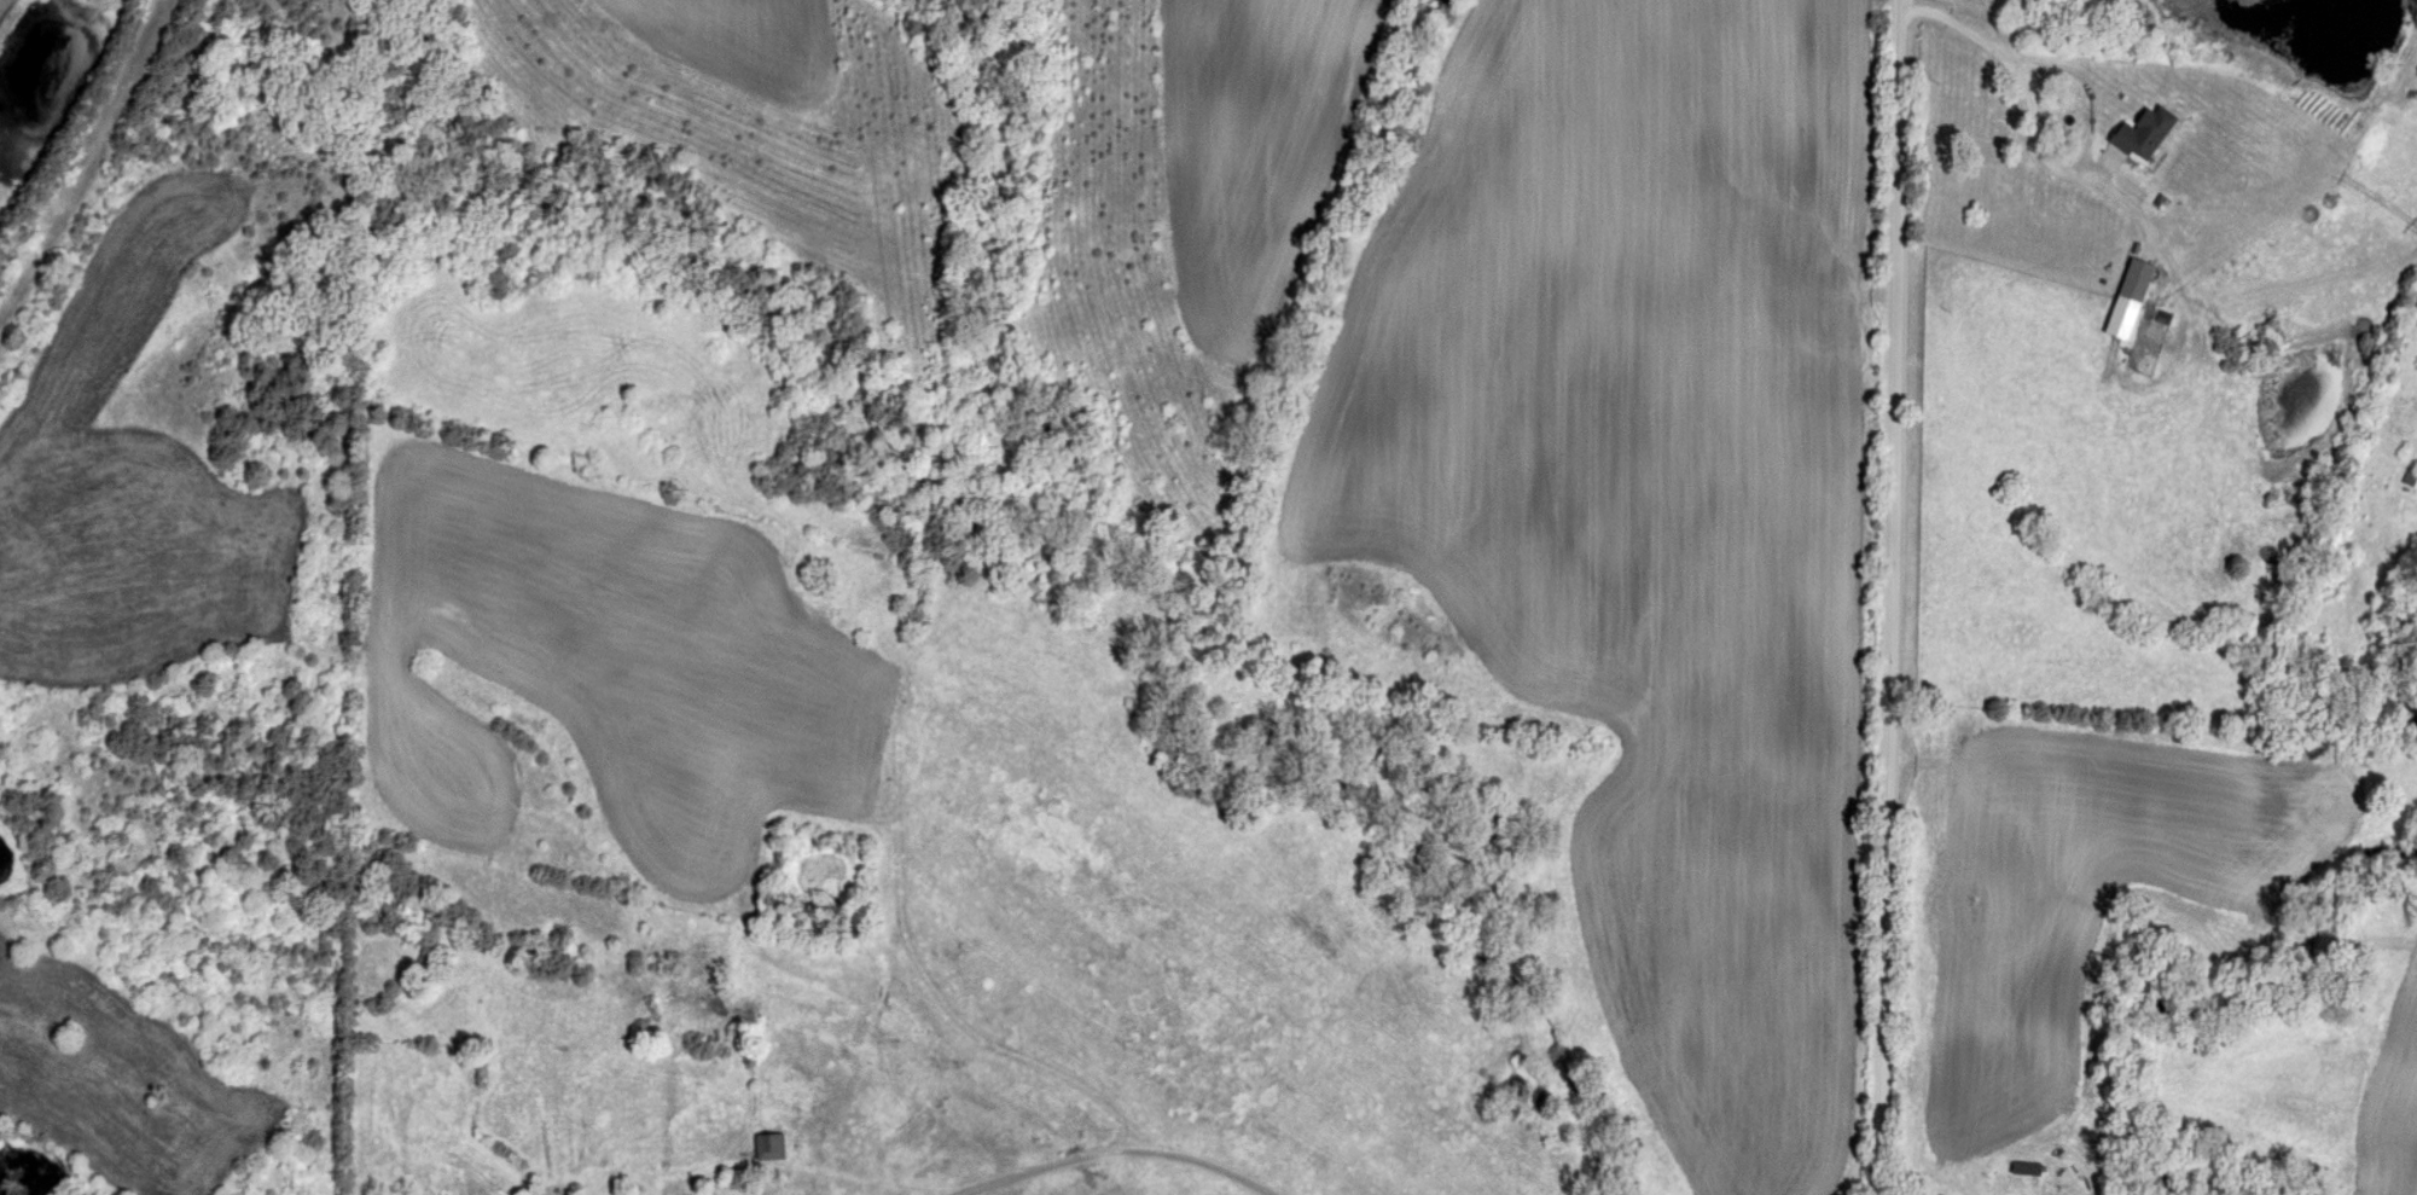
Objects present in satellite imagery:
road: (2097, 85)
building: (2149, 133)
building: (2140, 279)
building: (2410, 477)
building: (820, 587)
road: (1894, 601)
building: (437, 1130)
building: (771, 1147)
building: (701, 1149)
road: (1109, 1156)
road: (502, 1168)
building: (2029, 1168)

